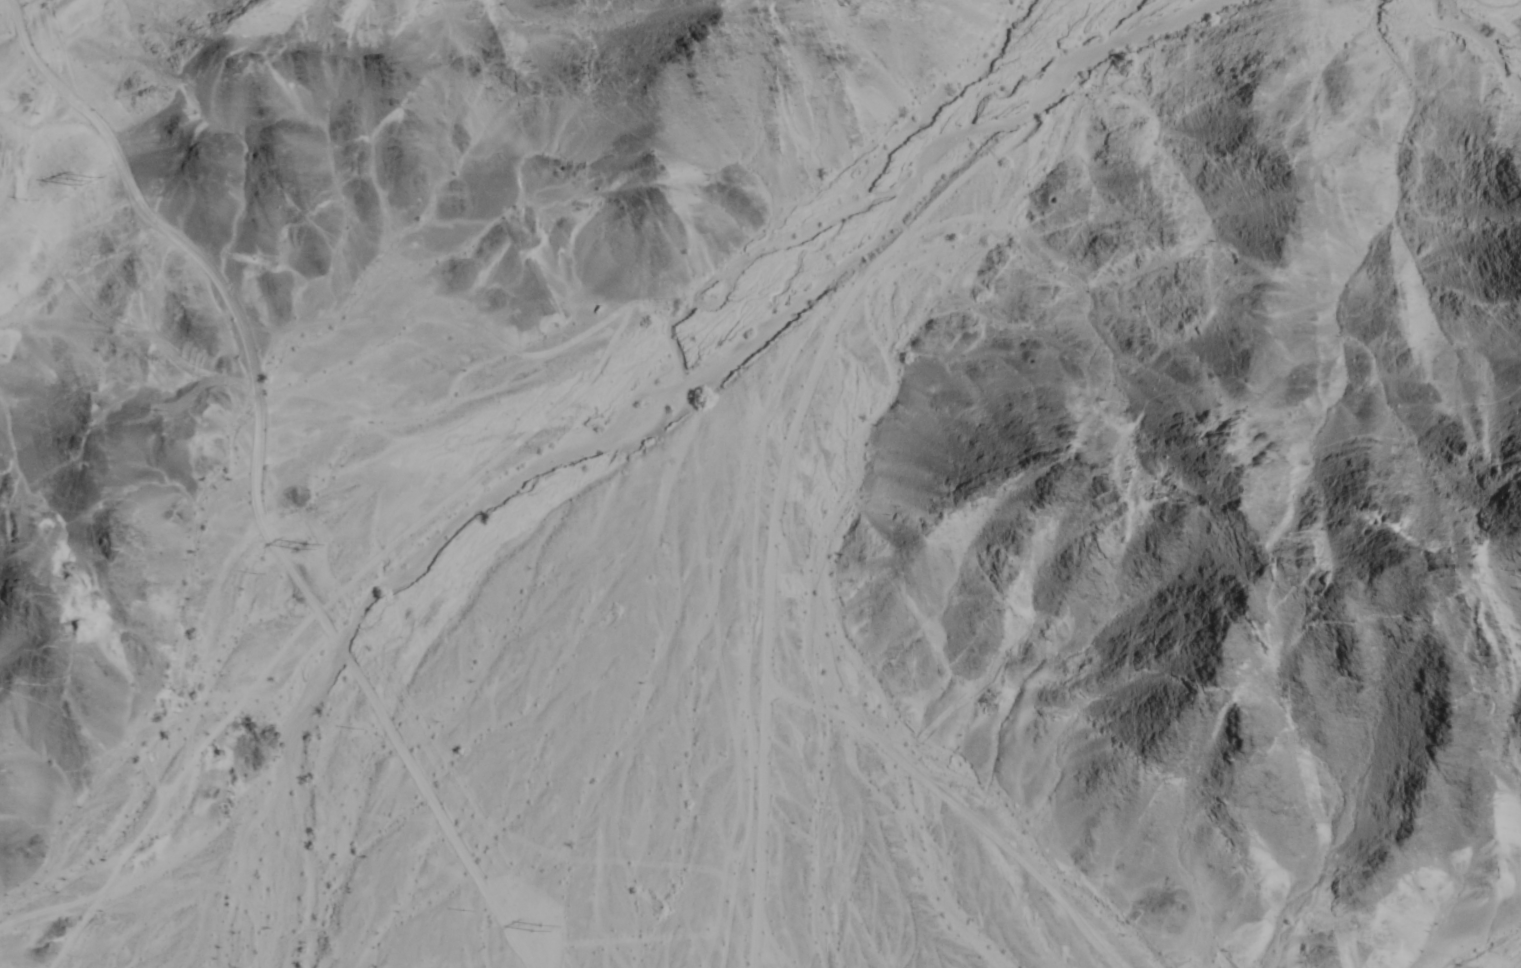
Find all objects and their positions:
power tower: (68, 190)
road: (259, 478)
road: (779, 515)
power tower: (297, 550)
road: (183, 786)
road: (57, 915)
power tower: (531, 931)

